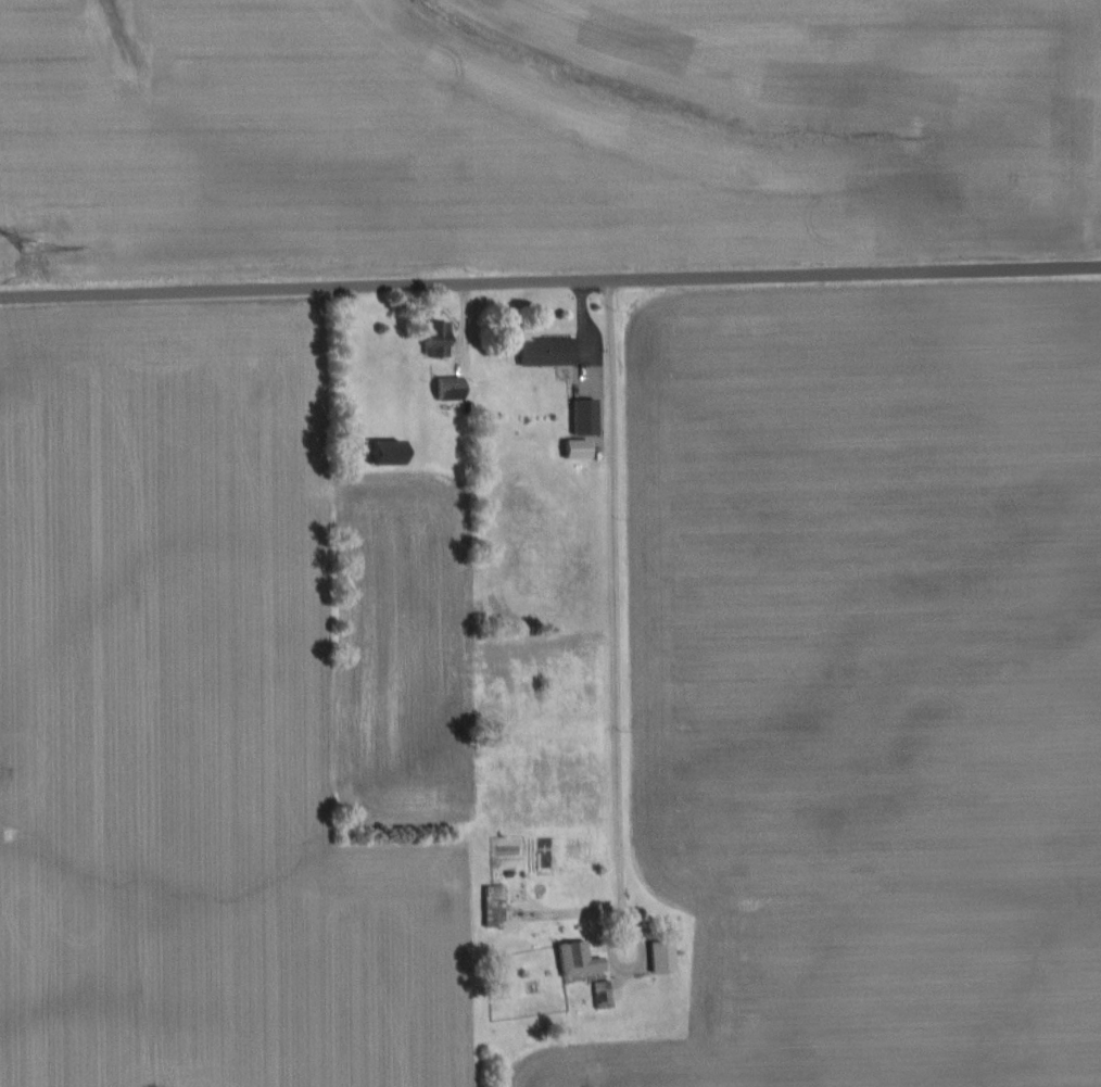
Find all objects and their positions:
power tower: (39, 263)
road: (549, 278)
building: (439, 338)
building: (543, 350)
building: (451, 387)
building: (585, 417)
building: (579, 448)
building: (388, 458)
road: (611, 605)
building: (491, 903)
building: (662, 955)
building: (573, 957)
building: (599, 993)

